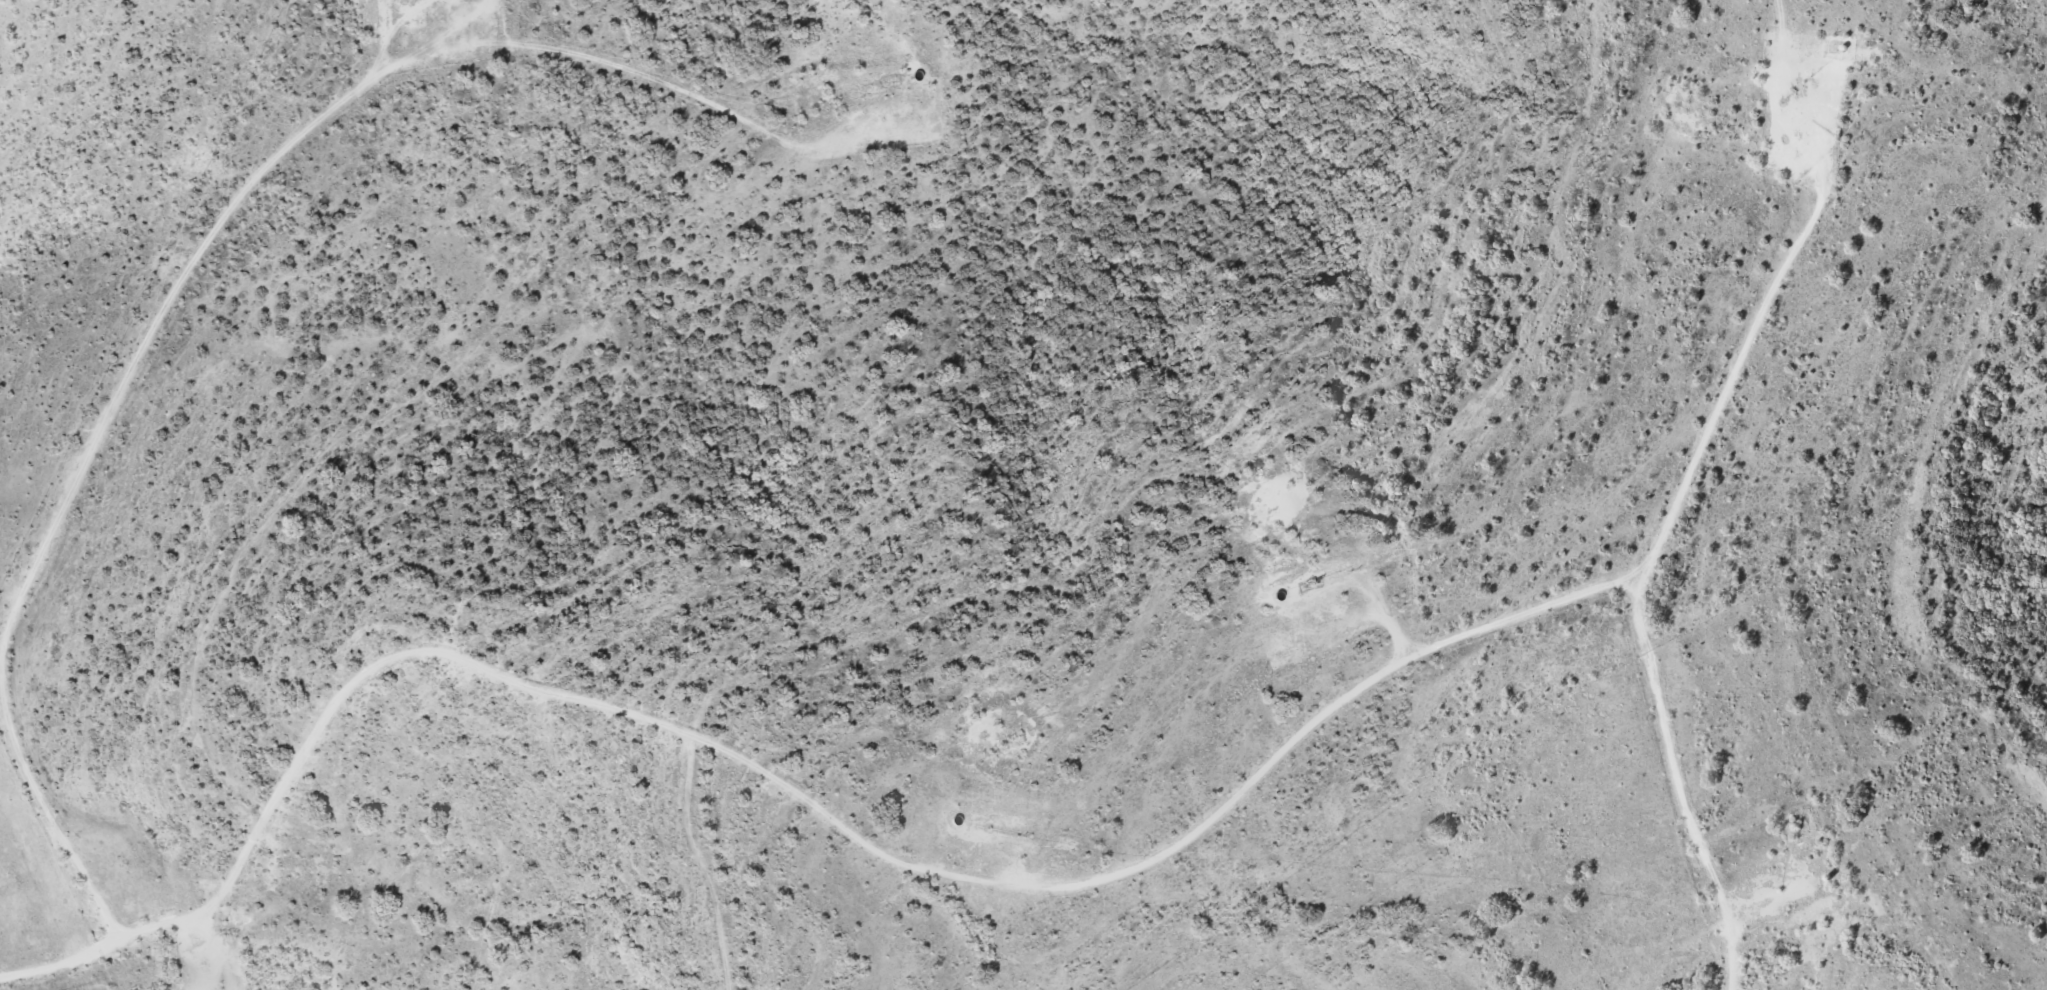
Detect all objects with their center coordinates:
road: (167, 287)
road: (482, 703)

